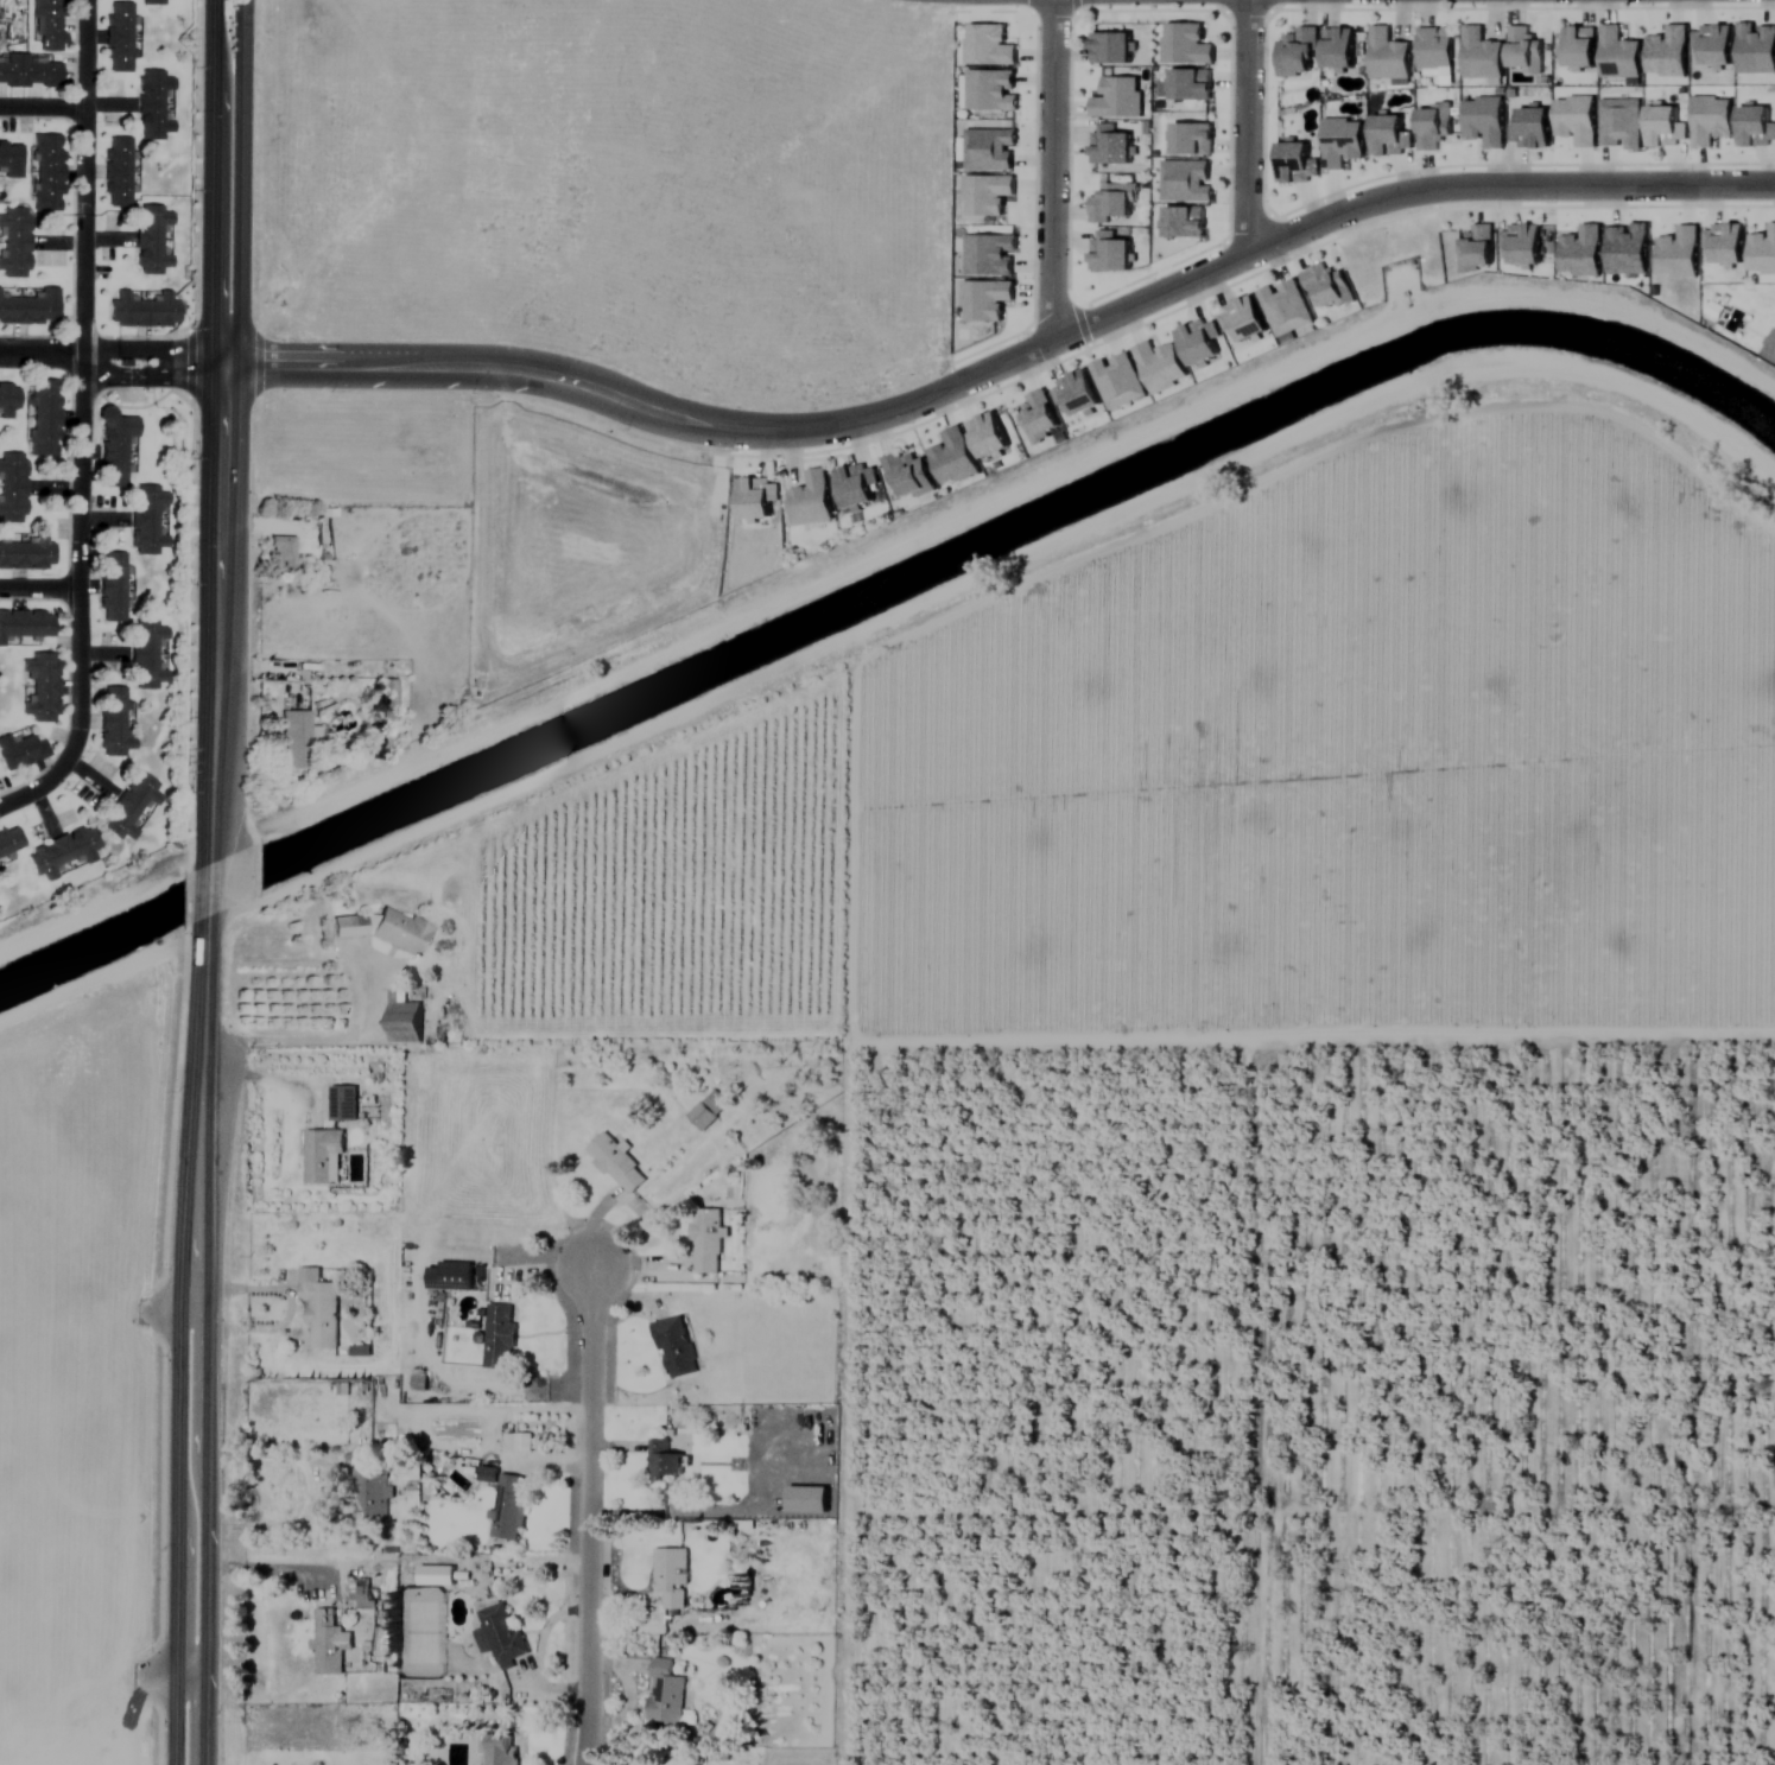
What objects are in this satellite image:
building: (151, 2)
building: (49, 25)
building: (118, 38)
building: (1340, 47)
building: (1580, 47)
building: (1435, 49)
building: (1526, 51)
building: (1299, 52)
building: (1483, 55)
building: (1621, 55)
building: (1389, 56)
building: (27, 71)
building: (153, 106)
road: (44, 108)
road: (1248, 131)
building: (9, 159)
building: (45, 172)
building: (116, 172)
road: (1051, 173)
road: (209, 183)
road: (239, 183)
building: (151, 240)
building: (13, 242)
building: (31, 309)
building: (142, 310)
road: (109, 364)
road: (1004, 364)
building: (8, 400)
building: (44, 418)
road: (83, 423)
building: (115, 446)
building: (911, 476)
building: (858, 487)
building: (12, 488)
building: (812, 501)
building: (749, 504)
building: (148, 520)
building: (283, 553)
building: (27, 554)
building: (113, 588)
road: (39, 590)
road: (218, 612)
building: (26, 624)
building: (147, 655)
building: (40, 688)
building: (388, 699)
building: (113, 724)
building: (296, 739)
building: (20, 753)
building: (131, 807)
building: (9, 840)
building: (62, 852)
road: (208, 891)
building: (385, 929)
building: (404, 1018)
road: (302, 1039)
building: (343, 1103)
road: (197, 1105)
building: (708, 1110)
building: (322, 1155)
building: (617, 1166)
building: (705, 1242)
building: (451, 1277)
building: (319, 1308)
building: (500, 1338)
building: (674, 1347)
crop: (80, 1380)
building: (418, 1382)
building: (664, 1461)
building: (372, 1494)
building: (509, 1507)
road: (590, 1515)
road: (176, 1524)
road: (208, 1525)
road: (273, 1569)
building: (671, 1577)
building: (499, 1633)
building: (329, 1644)
road: (190, 1668)
building: (666, 1694)
building: (502, 1750)

